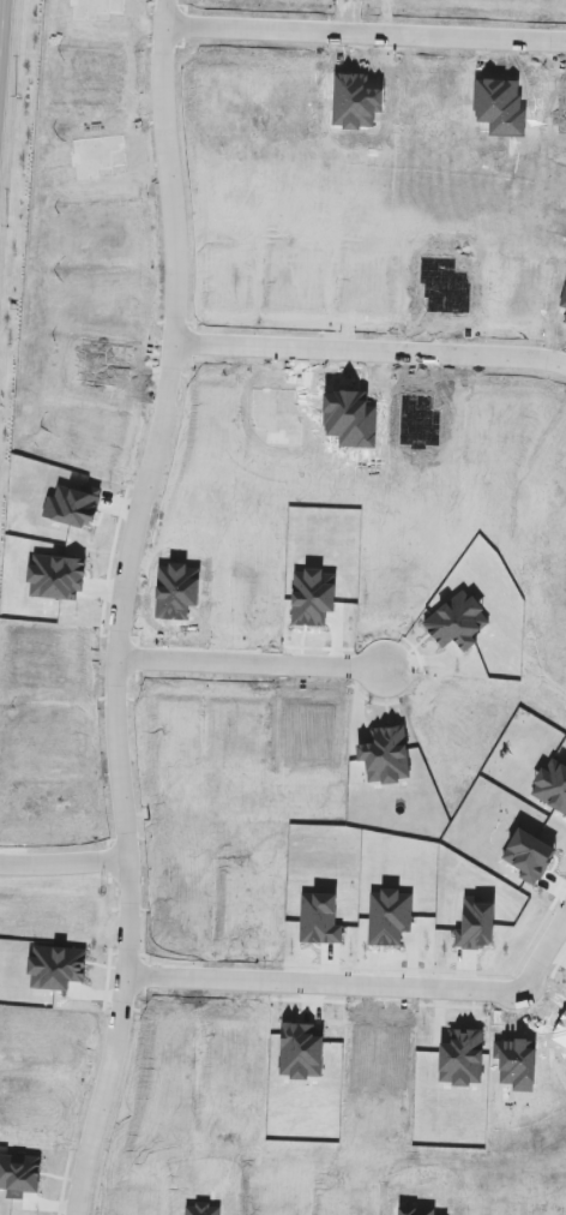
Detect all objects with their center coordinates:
road: (366, 28)
building: (506, 190)
road: (369, 341)
road: (141, 487)
road: (251, 656)
road: (546, 948)
road: (326, 976)
road: (118, 1034)

